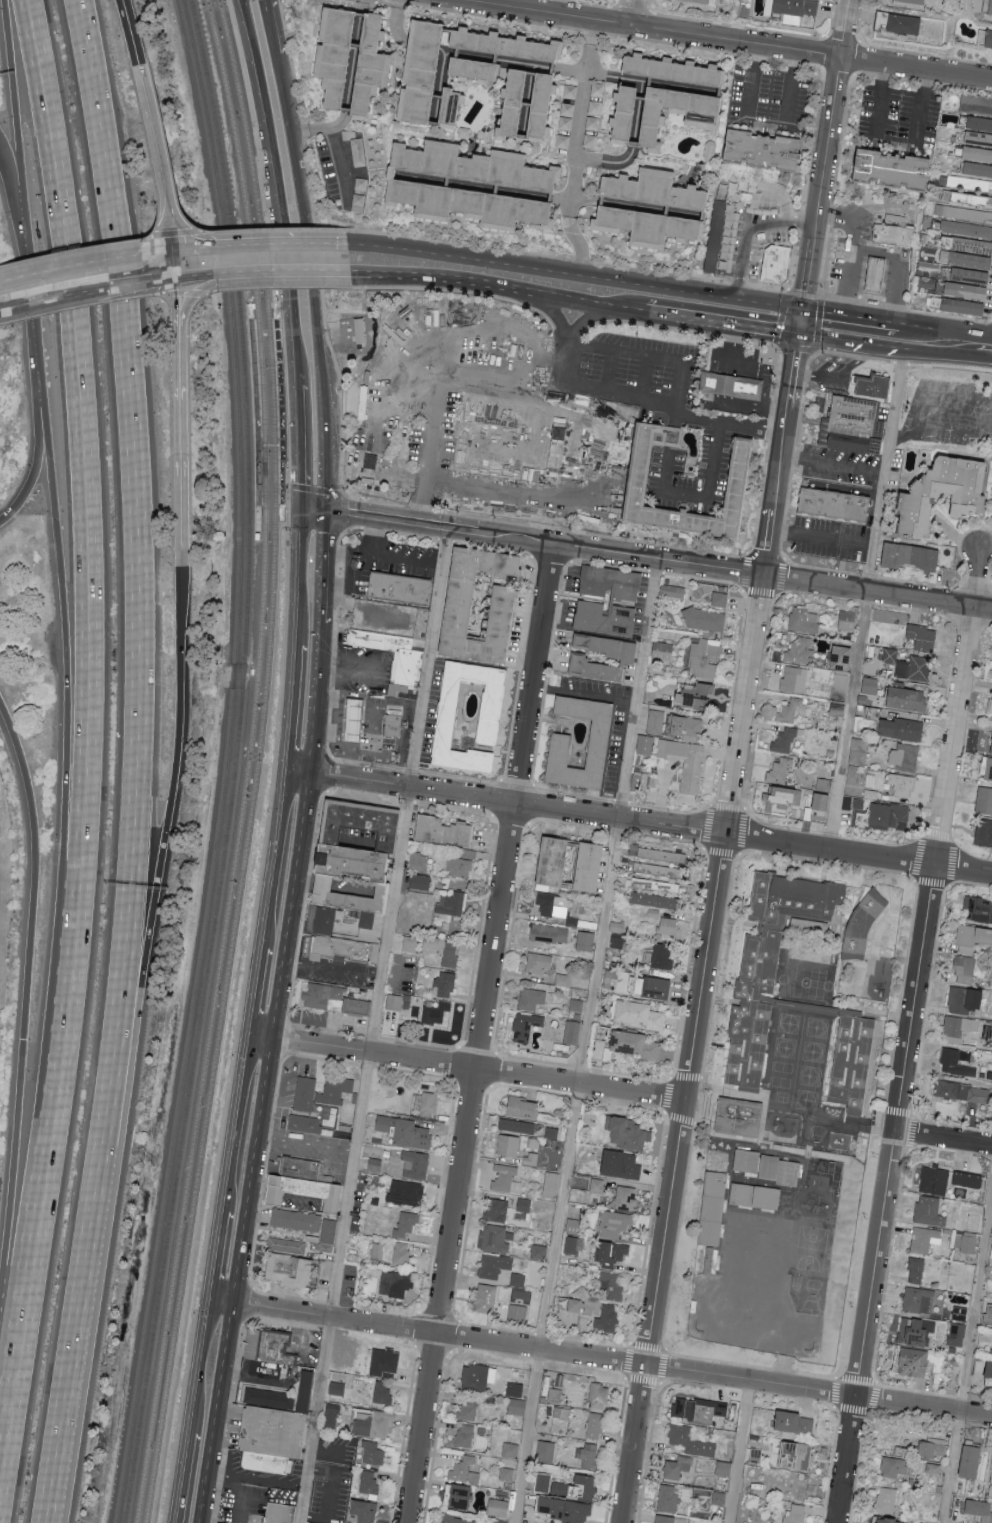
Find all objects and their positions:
building: (697, 0)
building: (906, 2)
building: (795, 7)
building: (991, 11)
road: (632, 12)
building: (902, 25)
road: (268, 27)
road: (845, 27)
road: (650, 28)
road: (132, 33)
building: (989, 39)
building: (503, 47)
building: (336, 55)
building: (367, 66)
road: (916, 67)
building: (473, 70)
building: (420, 72)
building: (672, 73)
building: (510, 75)
building: (598, 90)
building: (571, 91)
building: (513, 104)
building: (976, 105)
building: (449, 108)
building: (539, 108)
building: (595, 108)
road: (18, 111)
building: (567, 116)
building: (624, 116)
building: (701, 116)
building: (592, 123)
building: (978, 125)
road: (764, 128)
road: (154, 131)
road: (336, 138)
road: (895, 139)
building: (977, 140)
building: (563, 141)
building: (590, 141)
road: (578, 147)
building: (358, 152)
building: (762, 153)
building: (977, 155)
building: (474, 169)
building: (891, 170)
building: (975, 171)
road: (822, 182)
building: (967, 184)
road: (14, 185)
road: (272, 191)
building: (652, 193)
building: (966, 200)
building: (469, 204)
building: (966, 215)
road: (171, 222)
building: (649, 225)
road: (273, 230)
road: (748, 230)
building: (966, 231)
road: (176, 233)
building: (892, 238)
road: (361, 243)
road: (261, 244)
building: (971, 247)
road: (850, 248)
traffic signals: (177, 250)
road: (76, 252)
road: (567, 260)
road: (88, 262)
building: (969, 262)
building: (777, 264)
road: (897, 264)
road: (177, 265)
road: (284, 272)
road: (590, 275)
building: (874, 277)
building: (968, 277)
road: (200, 278)
traffic signals: (177, 281)
road: (445, 281)
road: (308, 283)
road: (278, 288)
road: (102, 290)
road: (458, 292)
building: (964, 292)
road: (196, 293)
road: (187, 294)
road: (787, 297)
road: (177, 300)
road: (35, 303)
road: (593, 303)
road: (82, 306)
road: (274, 307)
road: (14, 308)
building: (961, 308)
traffic signals: (803, 310)
road: (823, 312)
road: (659, 314)
road: (556, 319)
road: (870, 320)
road: (705, 321)
road: (801, 322)
road: (582, 323)
road: (766, 330)
road: (903, 332)
road: (567, 333)
building: (277, 334)
traffic signals: (799, 335)
road: (415, 341)
road: (846, 341)
road: (937, 342)
road: (901, 344)
road: (979, 346)
road: (266, 354)
road: (450, 361)
road: (609, 372)
road: (645, 378)
road: (842, 378)
road: (444, 384)
building: (730, 387)
building: (874, 388)
road: (965, 401)
road: (676, 402)
building: (256, 411)
building: (282, 411)
road: (722, 424)
building: (855, 426)
railway: (264, 435)
railway: (274, 436)
road: (181, 445)
road: (300, 447)
road: (781, 455)
road: (793, 455)
road: (37, 460)
building: (371, 461)
road: (832, 464)
road: (886, 465)
road: (286, 473)
road: (270, 474)
building: (737, 478)
building: (380, 479)
building: (258, 489)
road: (312, 490)
road: (701, 499)
building: (926, 499)
traffic signals: (299, 511)
road: (312, 512)
building: (837, 513)
traffic signals: (325, 514)
road: (344, 516)
railway: (285, 522)
railway: (262, 531)
building: (256, 535)
road: (87, 536)
road: (822, 537)
road: (544, 543)
road: (136, 544)
road: (656, 544)
road: (747, 555)
building: (912, 557)
road: (377, 560)
road: (551, 561)
road: (323, 569)
road: (297, 579)
road: (877, 593)
building: (401, 595)
building: (720, 599)
building: (626, 602)
building: (462, 614)
building: (706, 621)
building: (803, 621)
building: (848, 621)
building: (923, 637)
building: (380, 646)
building: (610, 647)
building: (663, 651)
building: (799, 651)
building: (704, 658)
building: (843, 658)
building: (909, 666)
building: (597, 670)
building: (251, 673)
road: (346, 673)
building: (794, 679)
building: (407, 680)
building: (839, 685)
building: (870, 686)
road: (583, 695)
building: (696, 695)
building: (909, 699)
building: (990, 706)
road: (290, 710)
building: (790, 710)
building: (493, 713)
road: (848, 719)
road: (755, 721)
building: (655, 722)
building: (685, 726)
road: (64, 729)
building: (355, 729)
building: (903, 729)
building: (394, 731)
building: (785, 739)
building: (645, 745)
building: (991, 748)
building: (562, 751)
building: (858, 752)
building: (905, 757)
railway: (224, 762)
road: (275, 762)
railway: (234, 763)
building: (686, 763)
building: (987, 769)
building: (780, 771)
road: (504, 774)
building: (639, 782)
building: (824, 785)
building: (901, 785)
road: (532, 788)
road: (531, 790)
building: (784, 795)
building: (984, 801)
building: (823, 802)
building: (782, 807)
road: (742, 810)
building: (891, 816)
road: (638, 820)
building: (366, 822)
road: (162, 833)
building: (446, 833)
building: (984, 833)
road: (302, 834)
road: (952, 841)
building: (661, 855)
building: (358, 858)
building: (555, 860)
road: (273, 861)
building: (418, 862)
building: (593, 865)
building: (459, 867)
building: (654, 869)
building: (420, 882)
building: (654, 885)
building: (353, 895)
building: (653, 900)
building: (452, 903)
building: (552, 904)
building: (978, 909)
building: (343, 921)
building: (565, 921)
building: (668, 926)
building: (861, 926)
building: (549, 933)
building: (972, 938)
building: (586, 940)
building: (409, 944)
building: (349, 950)
building: (444, 950)
building: (662, 956)
building: (539, 962)
building: (768, 965)
road: (333, 968)
building: (965, 969)
building: (444, 984)
building: (650, 986)
road: (23, 989)
road: (253, 994)
building: (531, 998)
building: (341, 999)
building: (965, 999)
building: (395, 1002)
building: (436, 1013)
building: (641, 1015)
road: (926, 1018)
road: (373, 1026)
building: (525, 1026)
building: (959, 1026)
road: (481, 1033)
building: (572, 1034)
road: (908, 1036)
road: (259, 1041)
road: (585, 1041)
building: (637, 1044)
road: (691, 1049)
building: (600, 1050)
road: (496, 1052)
building: (851, 1063)
building: (955, 1063)
road: (478, 1068)
building: (962, 1092)
building: (317, 1095)
road: (667, 1096)
building: (429, 1104)
building: (524, 1107)
road: (912, 1118)
building: (738, 1119)
road: (234, 1126)
building: (303, 1126)
building: (518, 1126)
building: (407, 1131)
road: (862, 1131)
building: (627, 1132)
road: (943, 1137)
road: (306, 1143)
building: (508, 1145)
building: (531, 1158)
building: (622, 1164)
building: (416, 1165)
building: (302, 1168)
building: (765, 1168)
building: (507, 1179)
building: (968, 1179)
building: (934, 1180)
building: (550, 1185)
building: (597, 1185)
building: (302, 1192)
building: (407, 1193)
railway: (183, 1198)
building: (626, 1198)
building: (754, 1198)
railway: (192, 1199)
building: (524, 1204)
building: (497, 1210)
building: (710, 1210)
building: (929, 1211)
building: (972, 1219)
building: (296, 1220)
building: (406, 1224)
building: (617, 1224)
building: (574, 1226)
building: (327, 1235)
building: (495, 1238)
building: (925, 1239)
building: (966, 1242)
building: (572, 1244)
building: (287, 1245)
building: (539, 1252)
building: (612, 1252)
building: (401, 1253)
road: (28, 1256)
road: (215, 1256)
building: (494, 1265)
road: (888, 1266)
building: (294, 1271)
building: (916, 1271)
building: (518, 1280)
road: (237, 1283)
building: (395, 1283)
building: (614, 1285)
building: (486, 1298)
building: (917, 1300)
building: (577, 1305)
road: (79, 1307)
building: (518, 1313)
building: (607, 1319)
road: (456, 1320)
building: (916, 1331)
building: (278, 1347)
road: (600, 1358)
road: (968, 1359)
building: (913, 1362)
road: (199, 1367)
building: (989, 1370)
building: (478, 1377)
road: (841, 1379)
road: (658, 1382)
building: (337, 1388)
building: (515, 1389)
building: (382, 1391)
building: (555, 1395)
building: (599, 1396)
building: (287, 1397)
building: (517, 1406)
building: (699, 1409)
building: (468, 1411)
building: (562, 1412)
road: (869, 1412)
road: (875, 1412)
building: (331, 1417)
building: (795, 1422)
building: (366, 1423)
building: (595, 1425)
building: (275, 1433)
building: (465, 1436)
building: (690, 1441)
building: (932, 1448)
building: (511, 1450)
building: (545, 1451)
road: (647, 1452)
road: (740, 1452)
road: (327, 1453)
building: (372, 1453)
building: (590, 1455)
building: (796, 1455)
building: (971, 1461)
building: (268, 1465)
road: (831, 1465)
building: (677, 1467)
building: (894, 1467)
building: (723, 1468)
building: (464, 1470)
building: (506, 1474)
road: (182, 1478)
building: (543, 1482)
road: (269, 1483)
building: (369, 1484)
building: (578, 1488)
road: (239, 1490)
building: (991, 1494)
building: (458, 1496)
road: (329, 1497)
building: (669, 1499)
building: (887, 1500)
building: (498, 1507)
building: (567, 1509)
building: (980, 1509)
building: (365, 1510)
building: (283, 1514)
building: (797, 1514)
building: (670, 1519)
building: (457, 1520)
building: (892, 1520)

